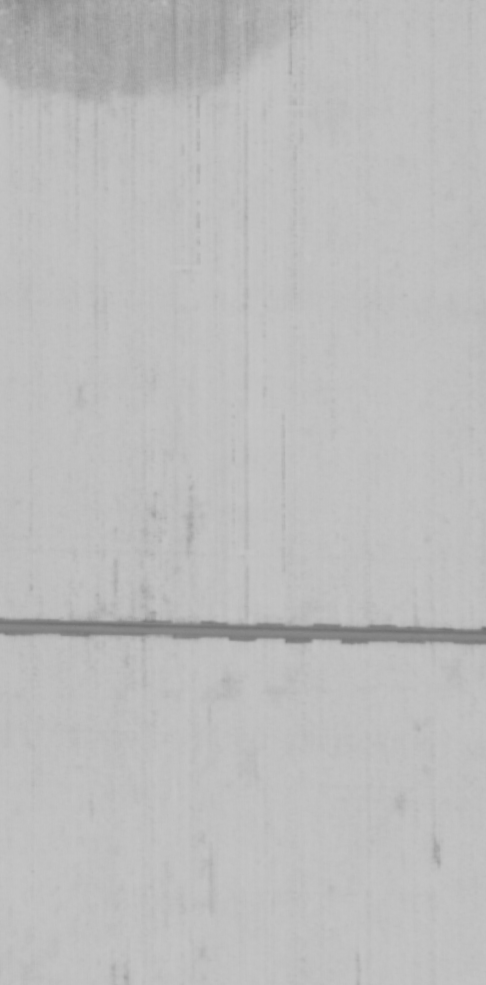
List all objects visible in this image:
crop: (243, 492)

